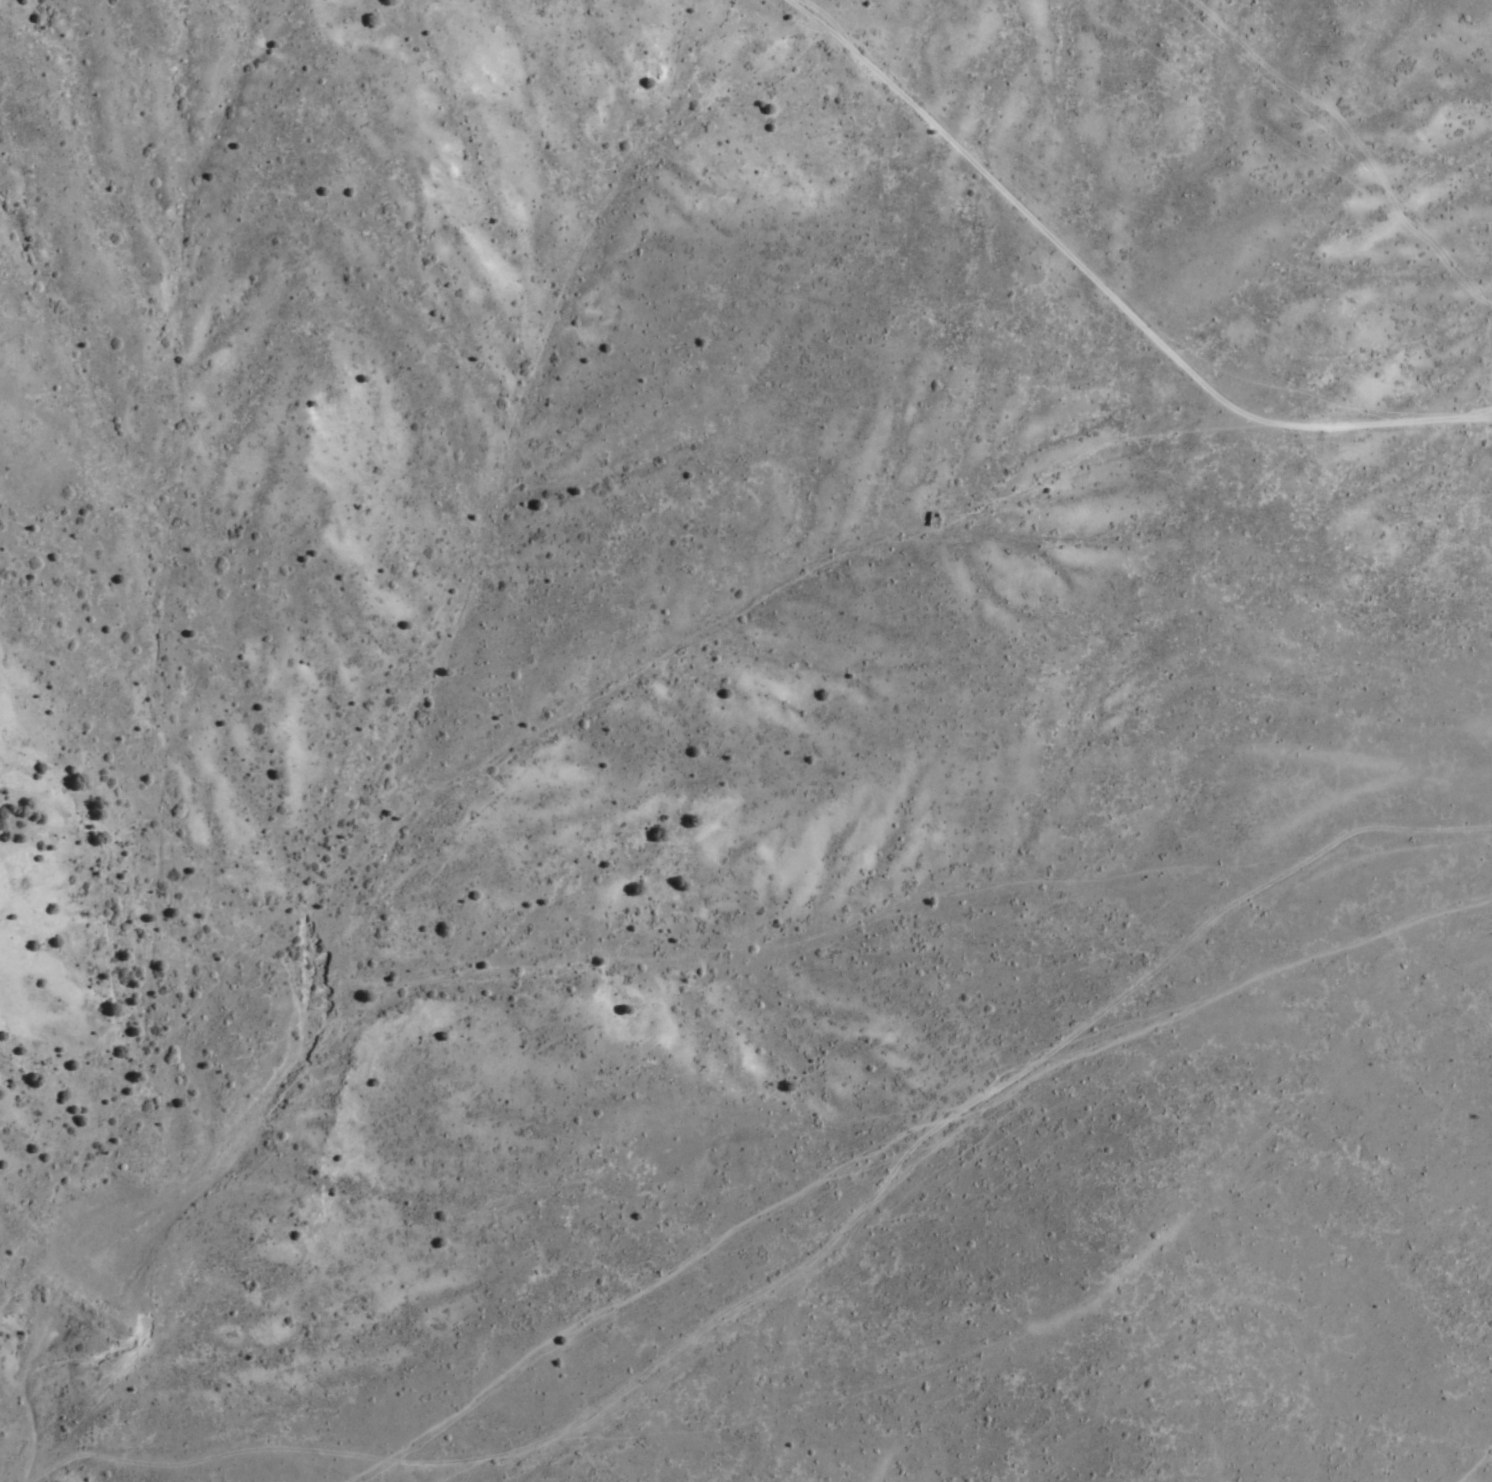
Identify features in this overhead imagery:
road: (1107, 284)
road: (881, 1207)

